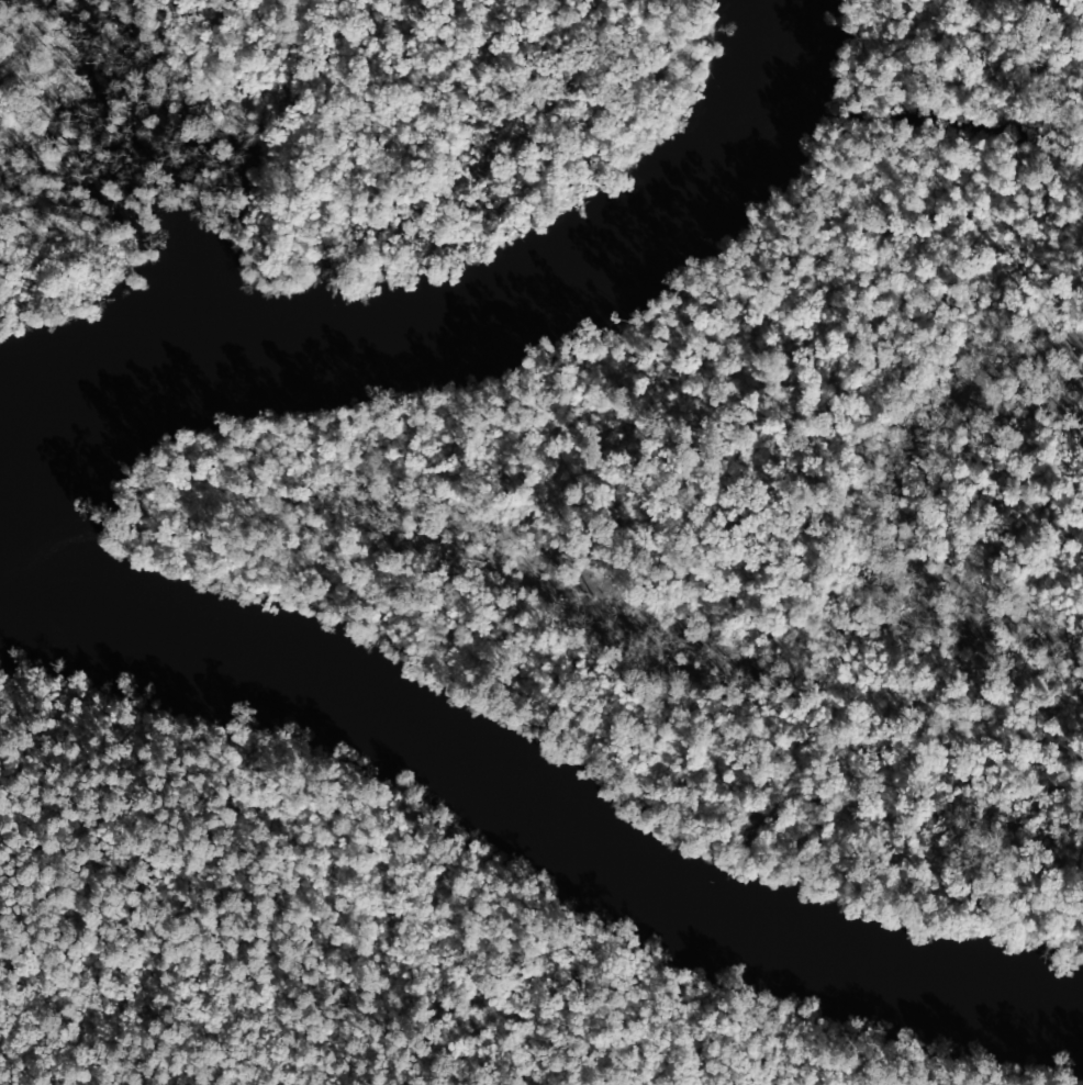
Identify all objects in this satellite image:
river: (71, 592)

